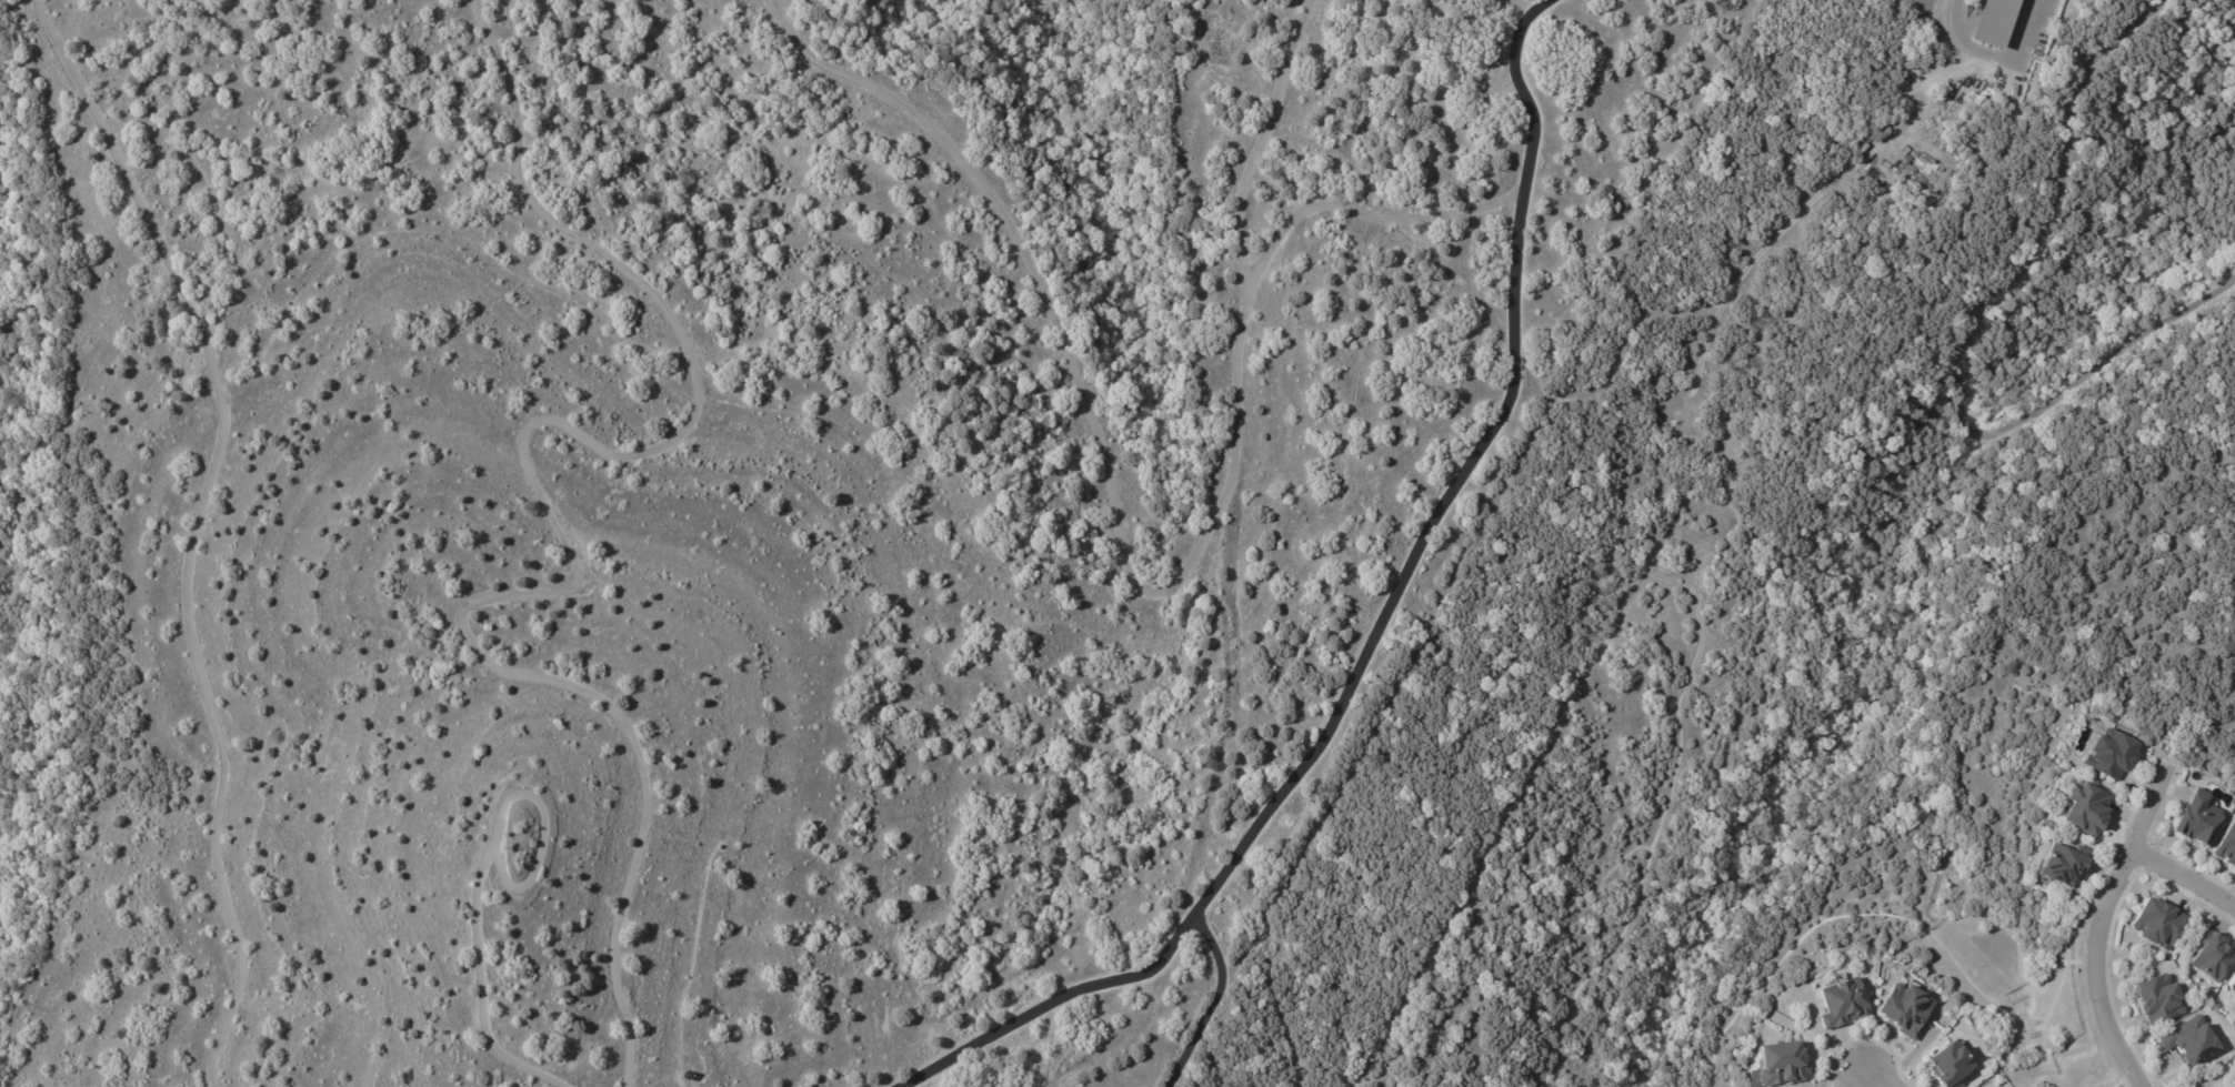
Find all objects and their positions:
building: (1997, 23)
road: (1363, 213)
road: (1226, 566)
road: (1374, 632)
building: (2111, 753)
building: (2086, 812)
building: (2198, 818)
building: (2226, 846)
building: (2066, 863)
road: (2183, 877)
road: (2096, 922)
building: (2158, 923)
building: (2214, 957)
building: (2233, 986)
building: (2234, 996)
building: (2158, 998)
building: (1843, 1002)
building: (1907, 1008)
building: (2192, 1039)
building: (1781, 1063)
building: (1951, 1064)
road: (1867, 1077)

